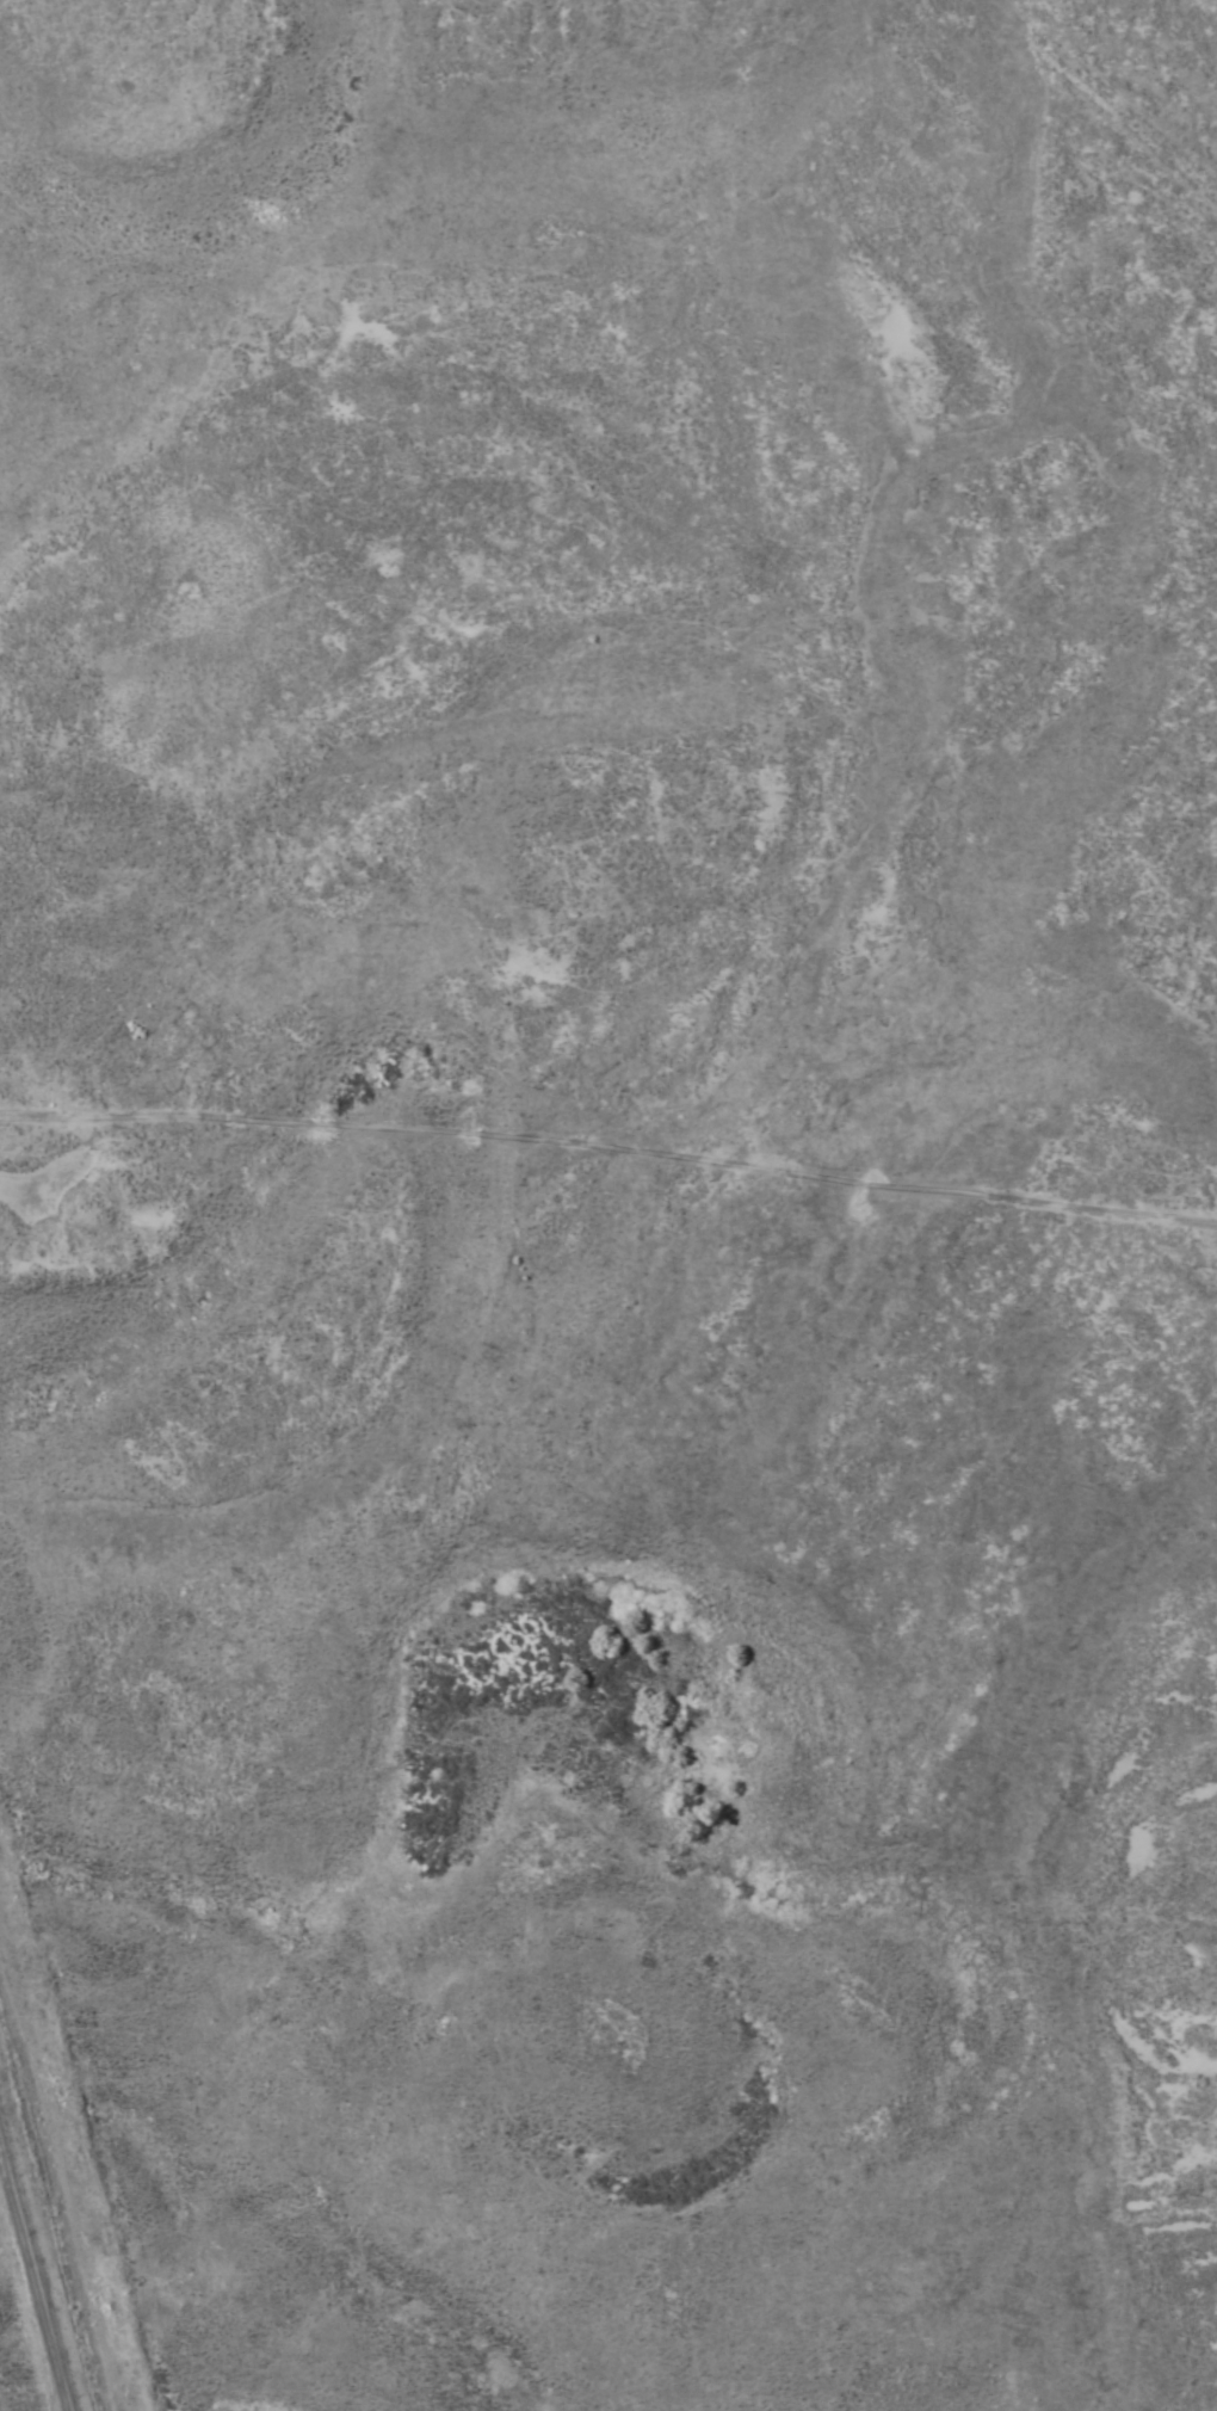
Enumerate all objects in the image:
road: (26, 2345)

